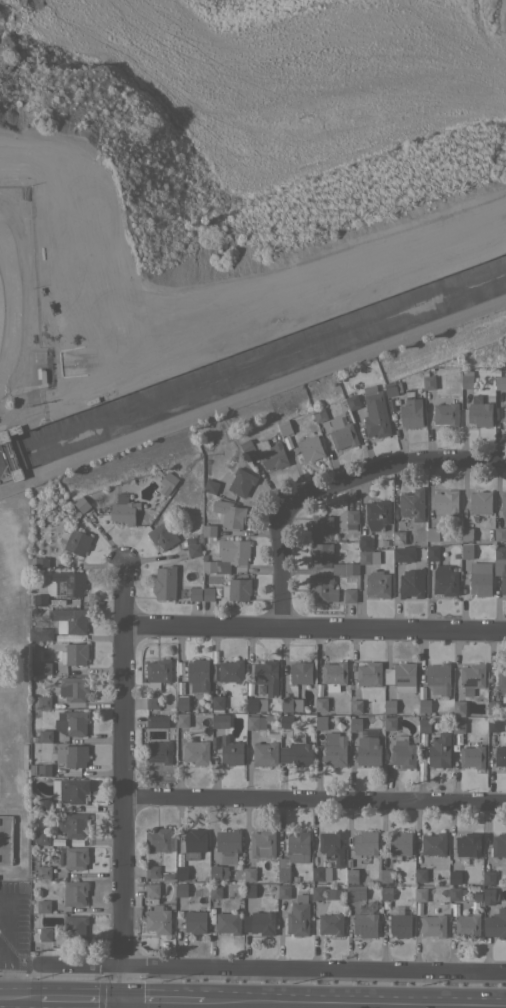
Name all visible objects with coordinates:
quarry: (221, 137)
building: (500, 377)
building: (466, 379)
building: (428, 380)
building: (392, 388)
building: (352, 402)
building: (391, 403)
building: (411, 410)
building: (445, 410)
building: (479, 411)
building: (374, 412)
building: (504, 412)
building: (319, 414)
building: (284, 427)
building: (15, 429)
building: (4, 436)
building: (343, 436)
building: (247, 447)
building: (310, 448)
building: (271, 454)
building: (17, 474)
building: (167, 482)
building: (241, 482)
building: (211, 486)
road: (338, 492)
building: (445, 502)
building: (480, 502)
building: (82, 504)
building: (412, 504)
building: (503, 505)
building: (123, 509)
building: (230, 514)
building: (377, 514)
building: (351, 518)
building: (321, 526)
building: (209, 530)
building: (500, 533)
building: (163, 534)
building: (432, 534)
building: (466, 534)
building: (398, 537)
building: (75, 541)
building: (365, 542)
building: (193, 544)
building: (354, 544)
building: (466, 550)
building: (433, 552)
building: (320, 554)
building: (403, 554)
building: (227, 555)
building: (368, 556)
building: (40, 562)
building: (478, 566)
building: (487, 566)
building: (500, 566)
building: (468, 567)
building: (345, 568)
building: (445, 579)
building: (165, 582)
building: (65, 583)
building: (378, 583)
building: (411, 583)
building: (480, 583)
building: (304, 587)
building: (237, 589)
building: (322, 589)
building: (217, 591)
building: (195, 593)
building: (208, 594)
building: (349, 595)
building: (40, 600)
building: (70, 620)
road: (316, 632)
building: (40, 634)
building: (75, 654)
building: (180, 667)
building: (44, 668)
building: (231, 671)
building: (301, 672)
building: (158, 673)
building: (369, 673)
building: (198, 675)
building: (334, 675)
building: (266, 677)
building: (401, 677)
building: (472, 677)
building: (438, 678)
building: (501, 679)
building: (179, 686)
building: (74, 688)
building: (249, 689)
building: (42, 702)
building: (153, 702)
building: (182, 702)
building: (217, 704)
building: (256, 704)
building: (291, 704)
building: (321, 704)
building: (355, 706)
building: (389, 706)
building: (423, 706)
building: (459, 707)
building: (493, 707)
building: (200, 708)
building: (404, 708)
building: (413, 709)
building: (268, 718)
building: (157, 720)
building: (182, 720)
building: (220, 721)
building: (286, 721)
building: (317, 721)
building: (72, 722)
building: (252, 722)
building: (390, 723)
building: (493, 724)
building: (424, 725)
building: (458, 726)
building: (297, 731)
building: (45, 735)
building: (214, 740)
building: (502, 741)
building: (365, 743)
building: (335, 749)
building: (160, 751)
building: (231, 751)
building: (439, 751)
building: (197, 752)
building: (403, 752)
building: (265, 753)
building: (296, 753)
building: (70, 756)
building: (472, 756)
building: (500, 756)
building: (44, 770)
road: (124, 787)
building: (73, 790)
road: (315, 801)
building: (43, 804)
building: (72, 825)
building: (43, 838)
building: (6, 839)
building: (57, 840)
building: (158, 840)
building: (194, 843)
building: (365, 843)
building: (400, 843)
building: (433, 844)
building: (468, 844)
building: (228, 845)
building: (262, 845)
building: (499, 845)
building: (332, 846)
building: (294, 853)
building: (75, 857)
building: (178, 858)
building: (58, 860)
building: (348, 862)
building: (152, 871)
building: (44, 872)
building: (181, 872)
building: (218, 872)
building: (249, 873)
building: (321, 873)
building: (166, 875)
building: (352, 875)
building: (420, 875)
building: (386, 876)
building: (454, 877)
building: (488, 877)
building: (361, 879)
building: (478, 880)
building: (152, 889)
building: (181, 889)
building: (249, 890)
building: (215, 891)
building: (283, 891)
building: (355, 892)
building: (386, 892)
building: (75, 893)
building: (317, 893)
building: (455, 893)
building: (334, 894)
building: (420, 894)
building: (477, 894)
building: (488, 895)
building: (473, 904)
building: (172, 905)
building: (44, 906)
building: (454, 908)
building: (298, 917)
building: (157, 919)
building: (366, 920)
building: (195, 921)
building: (228, 922)
building: (259, 922)
building: (399, 922)
building: (495, 923)
building: (331, 924)
building: (76, 925)
building: (433, 925)
building: (467, 925)
building: (45, 934)
road: (78, 963)
road: (314, 967)
road: (5, 977)
road: (19, 998)
road: (79, 999)
road: (161, 1000)
road: (354, 1004)

